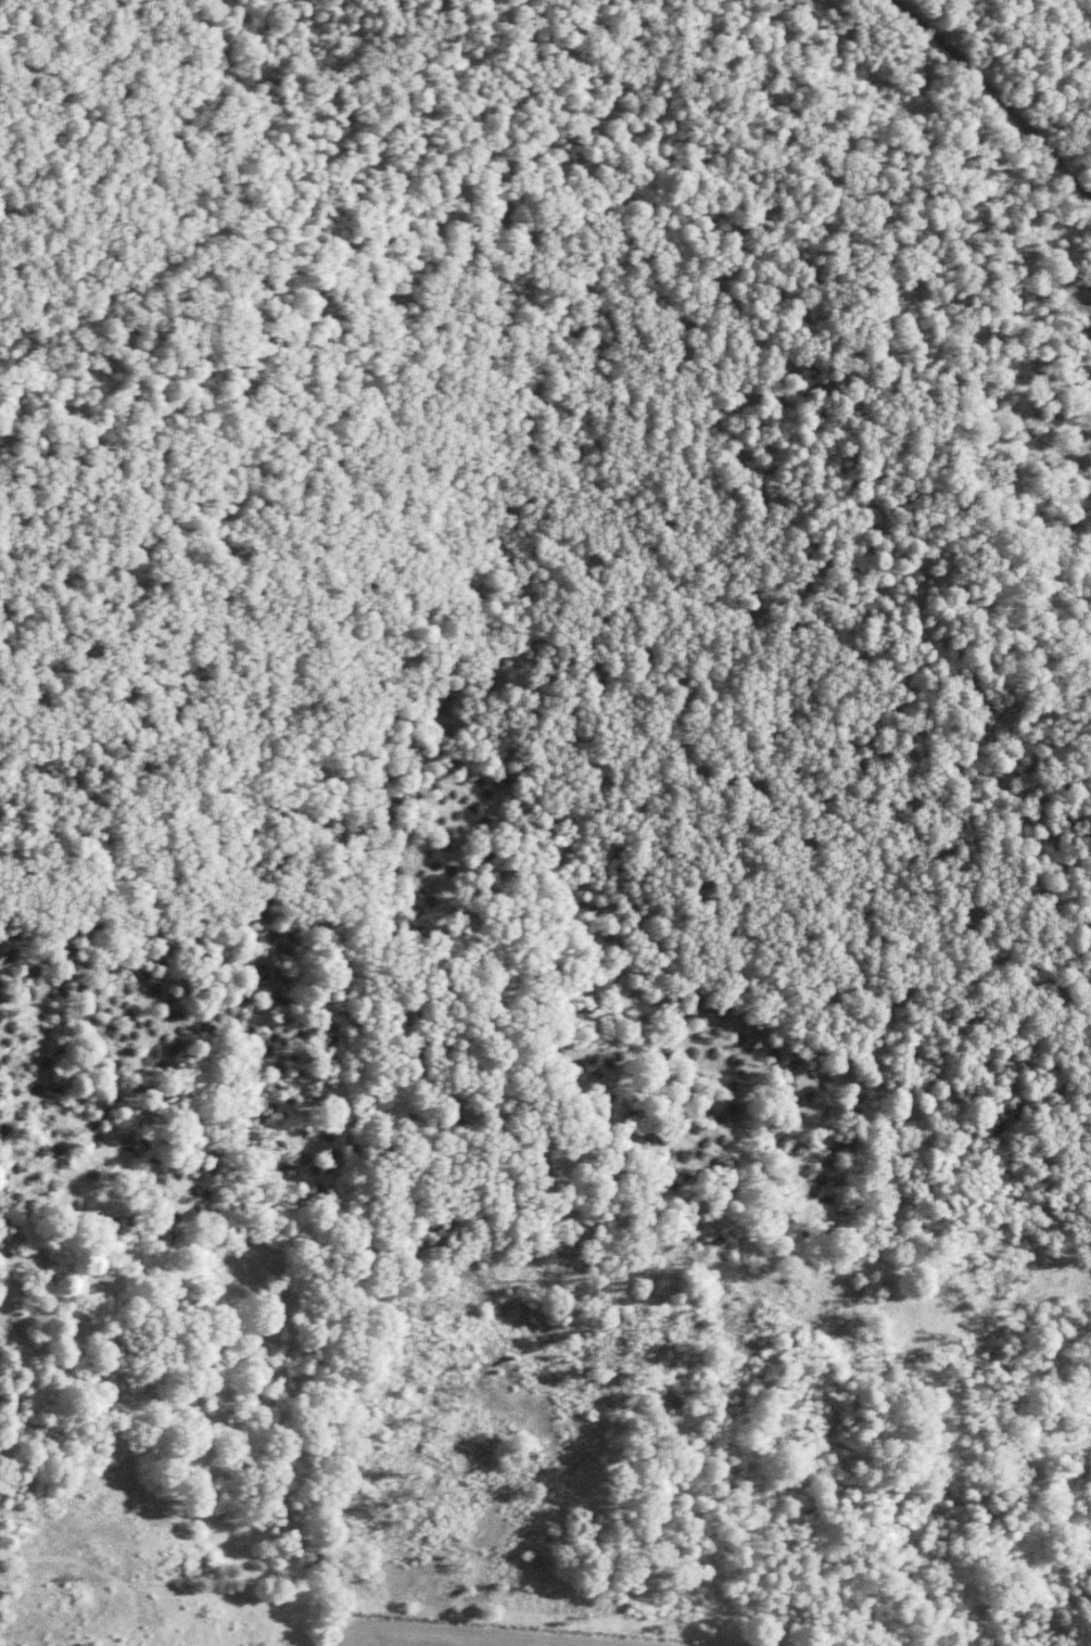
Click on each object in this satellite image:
road: (993, 96)

